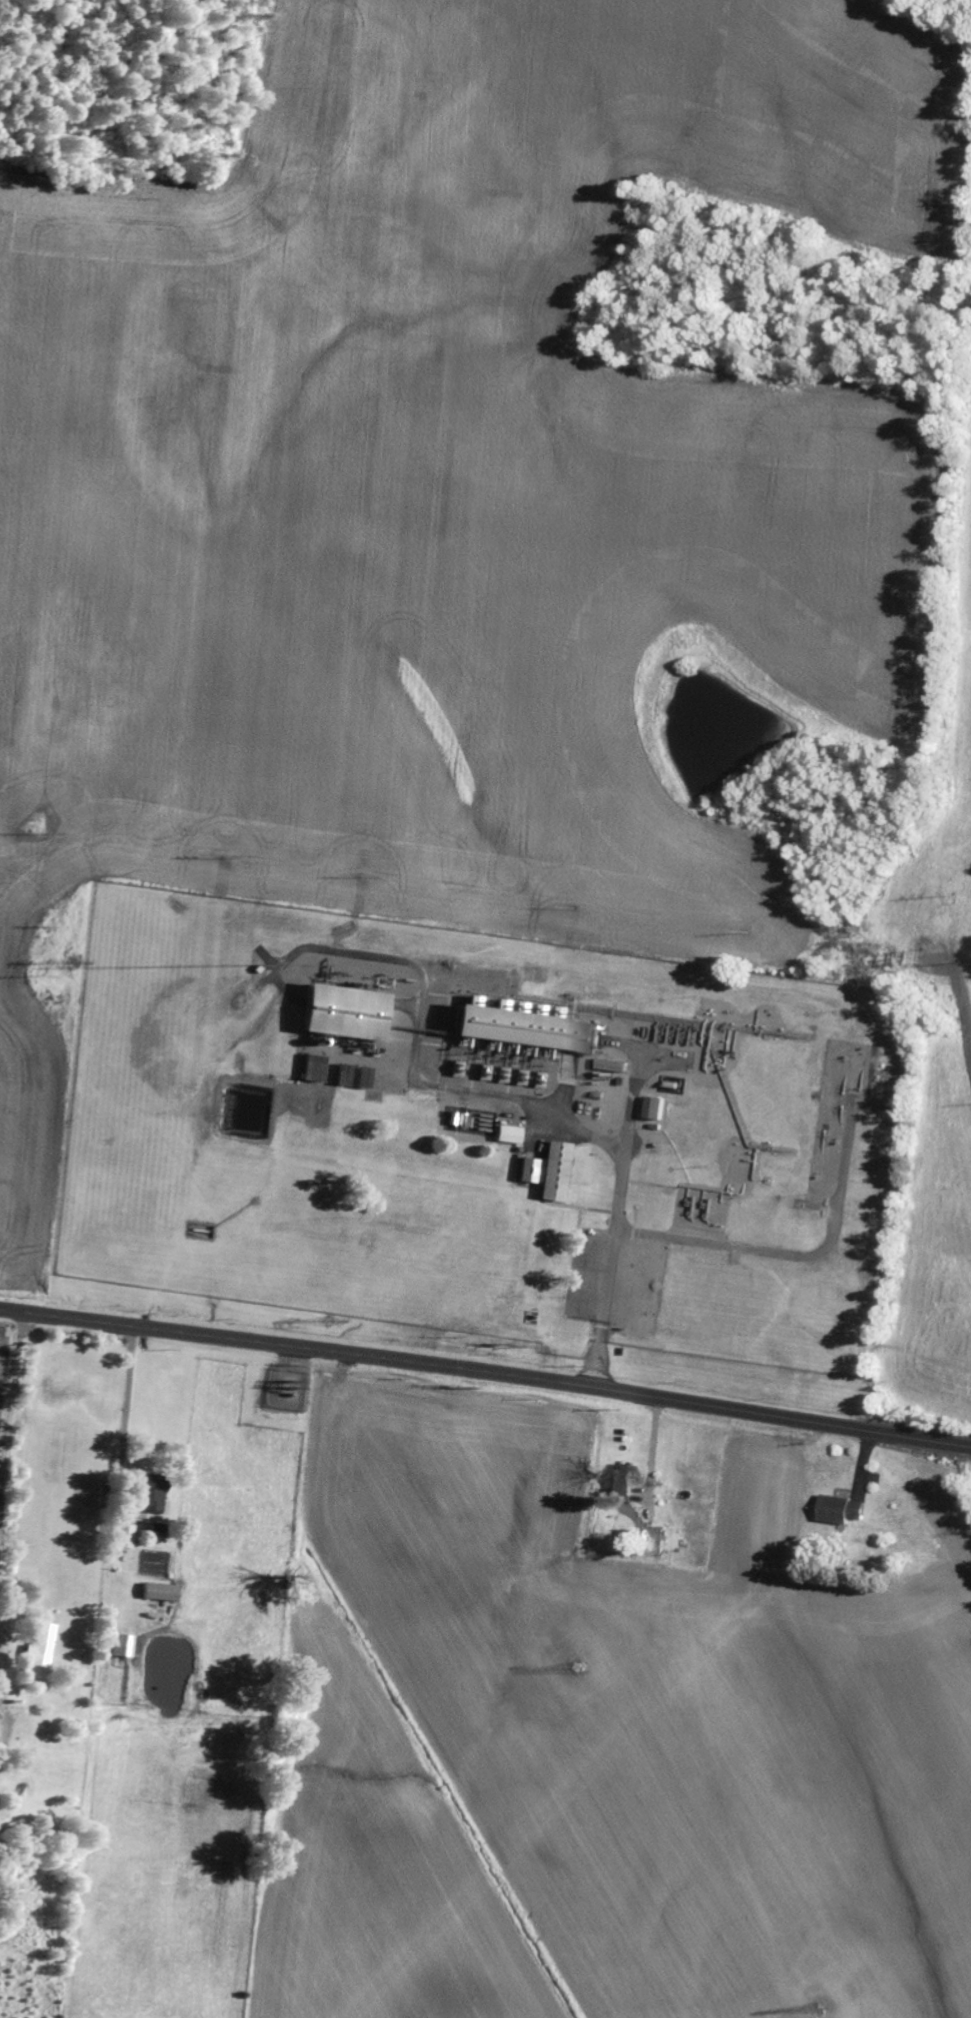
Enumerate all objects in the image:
building: (351, 1012)
building: (661, 1107)
building: (512, 1135)
building: (531, 1170)
building: (559, 1171)
building: (540, 1180)
road: (486, 1372)
building: (627, 1480)
building: (156, 1492)
building: (849, 1510)
building: (128, 1536)
building: (163, 1593)
building: (124, 1646)
building: (44, 1652)

